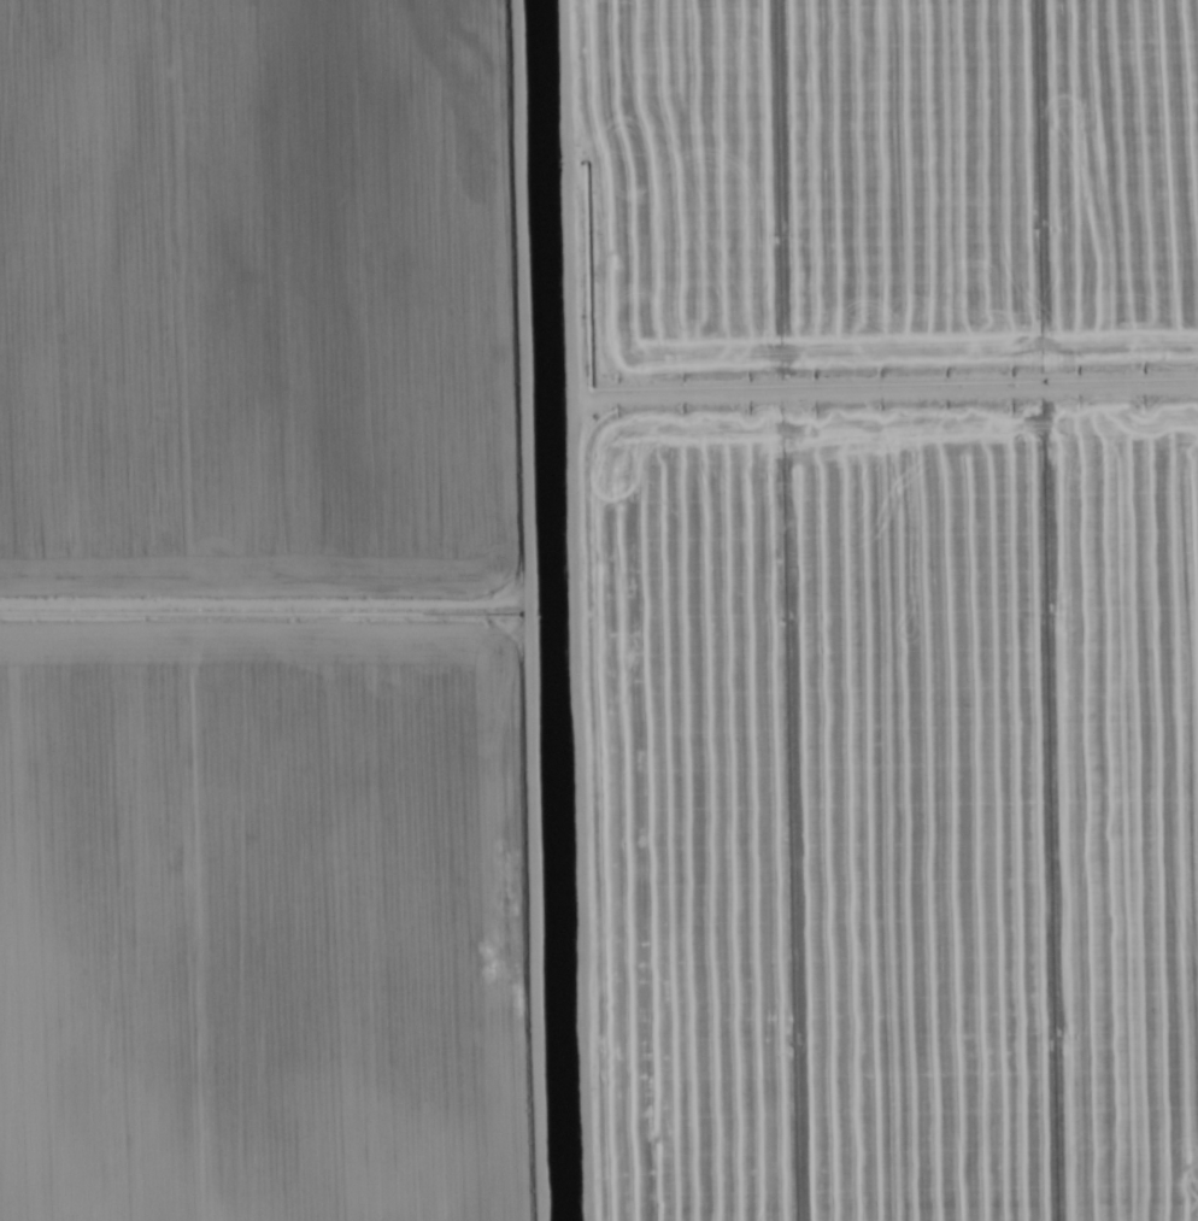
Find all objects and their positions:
crop: (599, 610)

